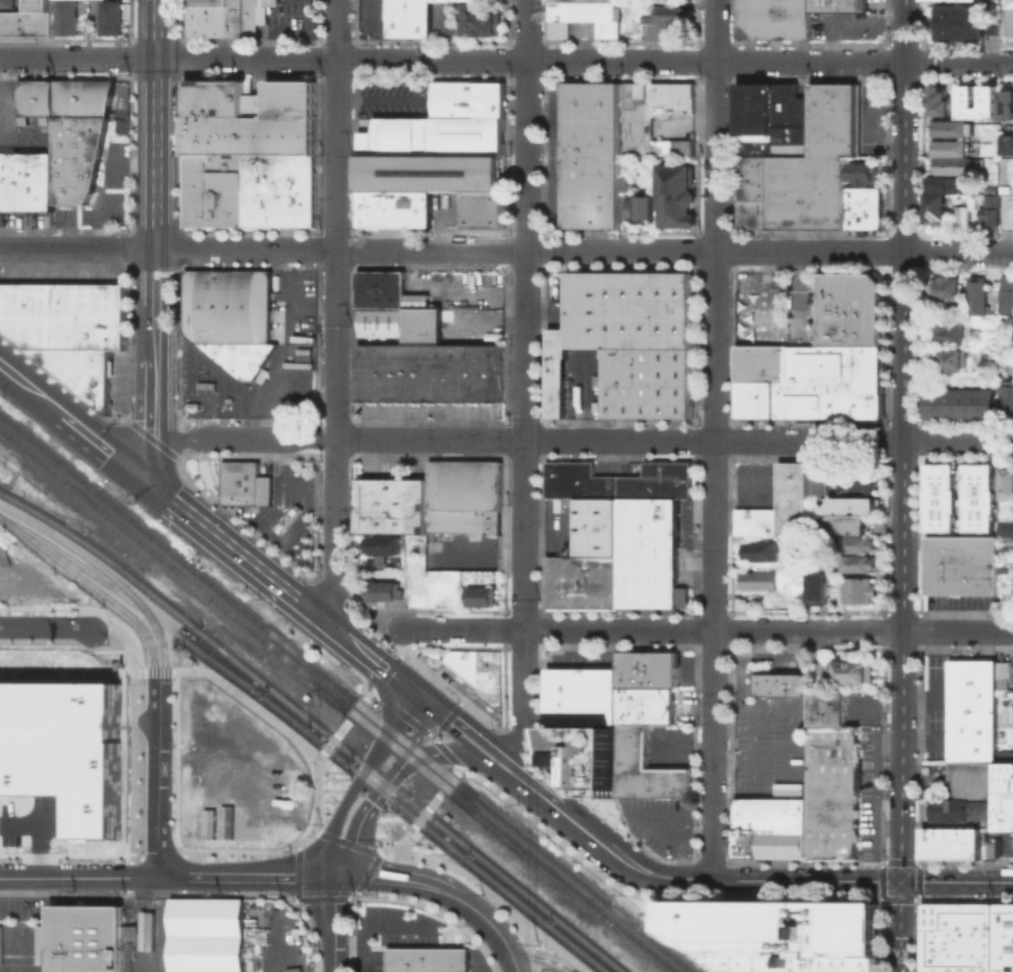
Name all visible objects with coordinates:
building: (590, 0)
building: (965, 0)
building: (9, 2)
building: (213, 2)
building: (272, 3)
building: (838, 5)
road: (282, 14)
building: (253, 16)
building: (66, 17)
building: (110, 17)
building: (586, 17)
building: (667, 17)
building: (409, 18)
building: (633, 18)
building: (755, 18)
building: (992, 18)
building: (1006, 18)
building: (28, 19)
building: (791, 19)
building: (197, 20)
building: (226, 20)
building: (483, 20)
building: (958, 21)
road: (275, 29)
road: (506, 60)
building: (987, 95)
building: (62, 97)
building: (939, 99)
building: (1005, 103)
building: (249, 116)
building: (773, 116)
building: (832, 119)
road: (156, 124)
building: (638, 127)
building: (952, 127)
road: (136, 128)
building: (78, 132)
road: (23, 138)
building: (441, 142)
building: (1006, 143)
building: (754, 147)
building: (949, 147)
power tower: (353, 153)
building: (593, 154)
road: (131, 164)
building: (951, 165)
building: (863, 171)
building: (73, 175)
building: (752, 177)
building: (26, 179)
building: (942, 183)
building: (248, 189)
building: (806, 192)
building: (677, 194)
building: (397, 207)
building: (641, 207)
building: (935, 207)
building: (486, 208)
building: (864, 208)
building: (990, 210)
building: (1005, 211)
building: (751, 213)
building: (961, 216)
road: (337, 219)
road: (100, 223)
road: (179, 232)
road: (506, 250)
road: (155, 274)
road: (759, 284)
building: (946, 286)
building: (386, 289)
building: (979, 289)
road: (799, 290)
building: (1007, 300)
building: (849, 309)
building: (29, 313)
building: (70, 315)
building: (229, 316)
power tower: (353, 323)
building: (402, 323)
road: (155, 329)
building: (950, 334)
building: (977, 334)
building: (628, 341)
building: (92, 344)
road: (127, 356)
building: (952, 358)
building: (840, 364)
road: (7, 367)
building: (372, 371)
building: (408, 372)
building: (451, 372)
building: (488, 372)
road: (522, 386)
building: (804, 387)
road: (39, 394)
building: (1008, 395)
building: (754, 398)
building: (191, 404)
building: (961, 404)
road: (156, 419)
road: (128, 420)
road: (352, 420)
road: (152, 438)
road: (713, 438)
road: (176, 439)
road: (266, 440)
road: (674, 440)
road: (101, 444)
road: (178, 457)
building: (301, 469)
traffic signals: (138, 475)
building: (819, 478)
building: (578, 480)
building: (858, 480)
building: (658, 481)
building: (1006, 482)
building: (244, 483)
road: (738, 483)
road: (307, 484)
road: (903, 486)
building: (465, 496)
building: (792, 497)
building: (939, 497)
building: (977, 498)
building: (858, 504)
building: (392, 505)
building: (289, 516)
road: (315, 518)
building: (756, 521)
building: (836, 523)
street lamp: (4, 528)
building: (1006, 528)
power tower: (350, 530)
road: (333, 531)
road: (280, 538)
building: (857, 543)
building: (381, 544)
road: (227, 546)
building: (766, 551)
building: (648, 552)
building: (587, 560)
building: (857, 562)
building: (962, 565)
road: (314, 579)
building: (757, 579)
building: (817, 587)
building: (857, 589)
building: (386, 590)
road: (331, 595)
building: (482, 595)
street lamp: (102, 603)
road: (64, 606)
road: (350, 609)
road: (504, 610)
road: (918, 611)
road: (730, 612)
road: (49, 626)
road: (108, 627)
road: (384, 628)
road: (331, 629)
road: (706, 629)
road: (67, 645)
road: (451, 645)
road: (134, 649)
road: (372, 661)
building: (464, 662)
road: (883, 666)
road: (353, 669)
building: (648, 669)
building: (1003, 669)
building: (851, 671)
building: (1012, 671)
road: (386, 672)
road: (134, 673)
road: (157, 673)
road: (174, 673)
building: (489, 676)
building: (972, 680)
building: (776, 682)
traffic signals: (399, 683)
road: (410, 691)
road: (450, 691)
road: (368, 693)
railway: (345, 694)
building: (1007, 694)
building: (584, 696)
building: (824, 697)
railway: (337, 700)
traffic signals: (421, 700)
road: (459, 702)
building: (647, 705)
road: (356, 708)
road: (433, 709)
road: (448, 715)
building: (824, 715)
road: (279, 725)
railway: (315, 725)
road: (694, 725)
road: (341, 727)
road: (421, 727)
road: (504, 728)
road: (419, 729)
road: (435, 732)
building: (971, 732)
railway: (309, 734)
road: (481, 735)
road: (328, 743)
road: (520, 746)
parking lot: (769, 746)
building: (64, 749)
road: (467, 750)
road: (436, 751)
traffic signals: (439, 751)
road: (324, 758)
building: (585, 759)
road: (538, 761)
road: (125, 767)
building: (647, 768)
building: (831, 774)
power tower: (350, 777)
road: (356, 779)
building: (971, 780)
road: (446, 784)
building: (1004, 784)
road: (532, 788)
road: (432, 802)
building: (961, 808)
road: (363, 812)
building: (770, 813)
road: (420, 816)
road: (175, 820)
building: (1004, 822)
road: (316, 831)
road: (406, 832)
road: (38, 835)
road: (304, 839)
building: (831, 841)
building: (945, 841)
road: (349, 842)
building: (745, 842)
building: (974, 842)
building: (780, 844)
road: (70, 853)
building: (951, 853)
road: (183, 854)
road: (161, 856)
road: (692, 858)
road: (709, 859)
road: (627, 861)
road: (726, 861)
road: (368, 871)
road: (127, 875)
road: (80, 878)
road: (248, 878)
traffic signals: (336, 878)
road: (397, 878)
road: (805, 879)
traffic signals: (901, 881)
road: (957, 881)
road: (126, 891)
power tower: (352, 892)
road: (355, 893)
road: (184, 894)
road: (493, 894)
road: (350, 896)
road: (686, 898)
road: (295, 899)
road: (917, 899)
road: (929, 899)
road: (294, 901)
building: (1004, 908)
road: (437, 910)
building: (1004, 920)
road: (490, 922)
road: (385, 923)
building: (931, 924)
road: (335, 925)
building: (948, 925)
building: (961, 925)
building: (974, 925)
building: (988, 925)
building: (1003, 932)
road: (350, 933)
building: (783, 934)
railway: (147, 935)
building: (206, 935)
road: (519, 935)
railway: (135, 936)
building: (85, 938)
building: (1004, 944)
railway: (144, 948)
building: (957, 954)
building: (1003, 955)
road: (544, 957)
building: (428, 959)
road: (514, 966)
building: (931, 966)
building: (947, 966)
building: (961, 966)
building: (974, 966)
building: (987, 966)
building: (1003, 966)

